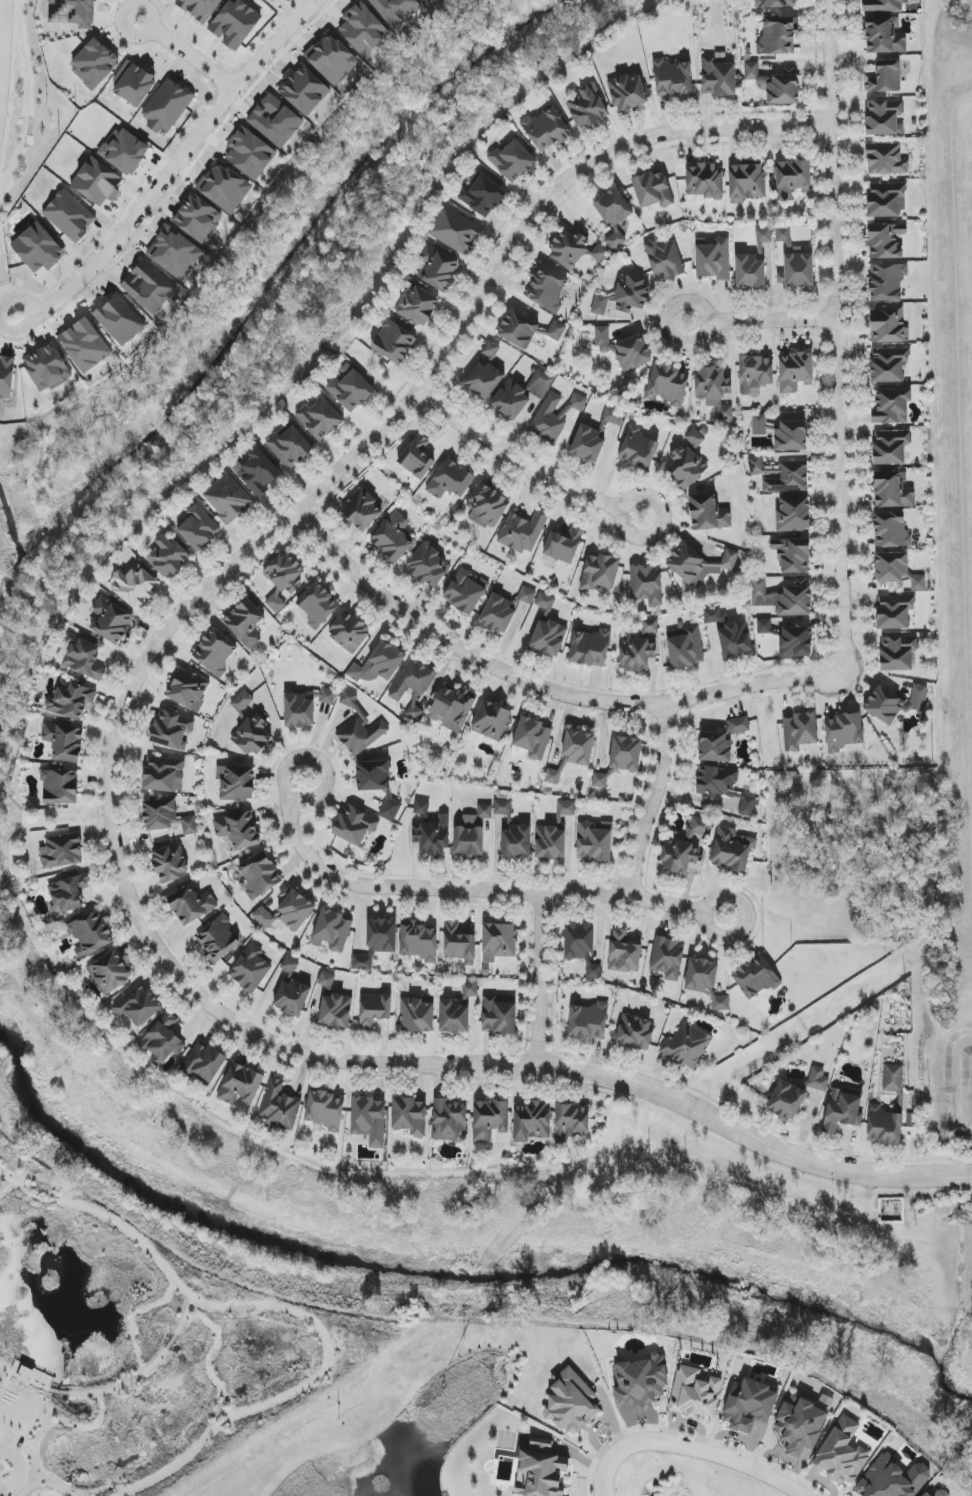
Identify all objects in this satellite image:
building: (272, 1)
building: (426, 1)
building: (771, 3)
building: (883, 5)
building: (199, 8)
building: (396, 10)
building: (73, 12)
building: (235, 24)
building: (363, 29)
road: (143, 35)
building: (777, 35)
building: (884, 35)
road: (2, 39)
road: (193, 58)
building: (332, 58)
building: (94, 63)
building: (718, 77)
building: (673, 78)
building: (885, 78)
building: (133, 83)
building: (303, 90)
building: (628, 92)
road: (28, 100)
building: (168, 106)
building: (587, 107)
building: (884, 117)
building: (275, 120)
building: (546, 129)
building: (125, 151)
building: (250, 154)
building: (886, 159)
building: (512, 161)
road: (177, 163)
building: (791, 179)
building: (705, 181)
building: (97, 182)
building: (746, 182)
building: (224, 187)
building: (653, 189)
building: (481, 194)
building: (885, 200)
building: (614, 215)
building: (69, 216)
building: (198, 219)
building: (455, 231)
building: (762, 240)
building: (885, 241)
building: (570, 247)
building: (38, 248)
building: (175, 253)
building: (599, 253)
building: (713, 258)
building: (664, 259)
building: (794, 262)
building: (437, 268)
building: (749, 271)
building: (886, 282)
building: (148, 287)
building: (547, 288)
building: (631, 294)
building: (600, 304)
building: (418, 306)
road: (710, 312)
road: (29, 315)
building: (119, 319)
building: (888, 324)
building: (519, 328)
building: (556, 330)
road: (836, 337)
building: (393, 342)
building: (85, 345)
building: (624, 349)
building: (490, 350)
building: (889, 364)
building: (47, 368)
building: (794, 371)
building: (755, 373)
building: (7, 376)
building: (483, 380)
building: (540, 383)
building: (667, 385)
building: (350, 389)
building: (714, 390)
building: (511, 400)
building: (891, 406)
building: (555, 415)
building: (613, 416)
building: (320, 419)
building: (759, 424)
building: (791, 436)
building: (588, 444)
building: (289, 445)
building: (890, 446)
building: (638, 449)
building: (417, 457)
building: (687, 461)
building: (756, 466)
building: (258, 472)
building: (788, 478)
building: (451, 480)
road: (575, 488)
building: (892, 490)
building: (227, 499)
building: (487, 506)
building: (361, 509)
building: (708, 513)
building: (792, 515)
building: (198, 528)
building: (891, 530)
building: (522, 532)
building: (394, 537)
building: (563, 546)
building: (792, 555)
building: (167, 556)
building: (698, 565)
building: (427, 566)
building: (897, 570)
building: (600, 572)
building: (284, 579)
building: (646, 584)
building: (134, 586)
building: (464, 592)
building: (527, 596)
building: (784, 597)
building: (545, 602)
building: (317, 605)
building: (894, 611)
building: (497, 614)
building: (110, 620)
building: (245, 623)
building: (764, 626)
building: (349, 632)
building: (730, 633)
building: (549, 637)
building: (795, 642)
building: (640, 647)
building: (685, 647)
building: (589, 648)
building: (215, 651)
building: (897, 652)
building: (81, 657)
building: (379, 664)
road: (541, 686)
building: (413, 687)
building: (188, 690)
building: (327, 696)
building: (71, 701)
building: (242, 701)
building: (895, 703)
building: (452, 707)
building: (299, 712)
building: (492, 721)
building: (739, 725)
building: (359, 727)
building: (172, 730)
building: (799, 731)
building: (844, 733)
building: (255, 734)
building: (533, 738)
building: (63, 741)
building: (579, 747)
building: (714, 747)
building: (621, 758)
building: (164, 774)
building: (555, 774)
road: (110, 779)
building: (716, 781)
building: (236, 783)
building: (377, 783)
building: (59, 787)
road: (655, 797)
building: (747, 806)
building: (566, 808)
building: (159, 814)
building: (188, 826)
building: (355, 826)
building: (238, 829)
building: (513, 833)
building: (473, 834)
building: (433, 837)
building: (594, 841)
building: (550, 843)
building: (685, 847)
building: (732, 849)
building: (61, 851)
building: (170, 863)
building: (259, 874)
road: (469, 890)
building: (69, 892)
building: (191, 905)
building: (287, 911)
building: (332, 931)
building: (90, 934)
building: (218, 939)
building: (499, 940)
building: (418, 941)
building: (579, 941)
building: (377, 943)
building: (459, 944)
building: (624, 953)
building: (668, 958)
building: (289, 965)
building: (250, 969)
building: (594, 971)
building: (110, 973)
building: (756, 977)
road: (539, 979)
building: (326, 980)
building: (705, 982)
building: (470, 990)
building: (292, 996)
building: (138, 1005)
building: (374, 1009)
building: (335, 1010)
building: (499, 1015)
building: (416, 1016)
building: (454, 1017)
building: (589, 1021)
building: (635, 1032)
building: (163, 1040)
building: (687, 1046)
building: (204, 1062)
building: (892, 1078)
building: (818, 1079)
building: (240, 1085)
building: (786, 1100)
building: (280, 1106)
building: (325, 1110)
building: (409, 1116)
building: (490, 1119)
building: (369, 1120)
building: (449, 1121)
building: (571, 1121)
building: (531, 1122)
building: (884, 1125)
road: (9, 1179)
road: (7, 1189)
road: (67, 1203)
road: (314, 1328)
park: (124, 1353)
building: (641, 1381)
road: (6, 1388)
road: (46, 1393)
road: (113, 1394)
building: (694, 1394)
building: (571, 1402)
building: (749, 1405)
road: (103, 1406)
building: (800, 1424)
road: (13, 1432)
road: (61, 1433)
parking lot: (11, 1437)
road: (692, 1448)
building: (841, 1453)
road: (17, 1469)
building: (541, 1470)
road: (65, 1479)
building: (891, 1479)
building: (940, 1493)
building: (926, 1494)

